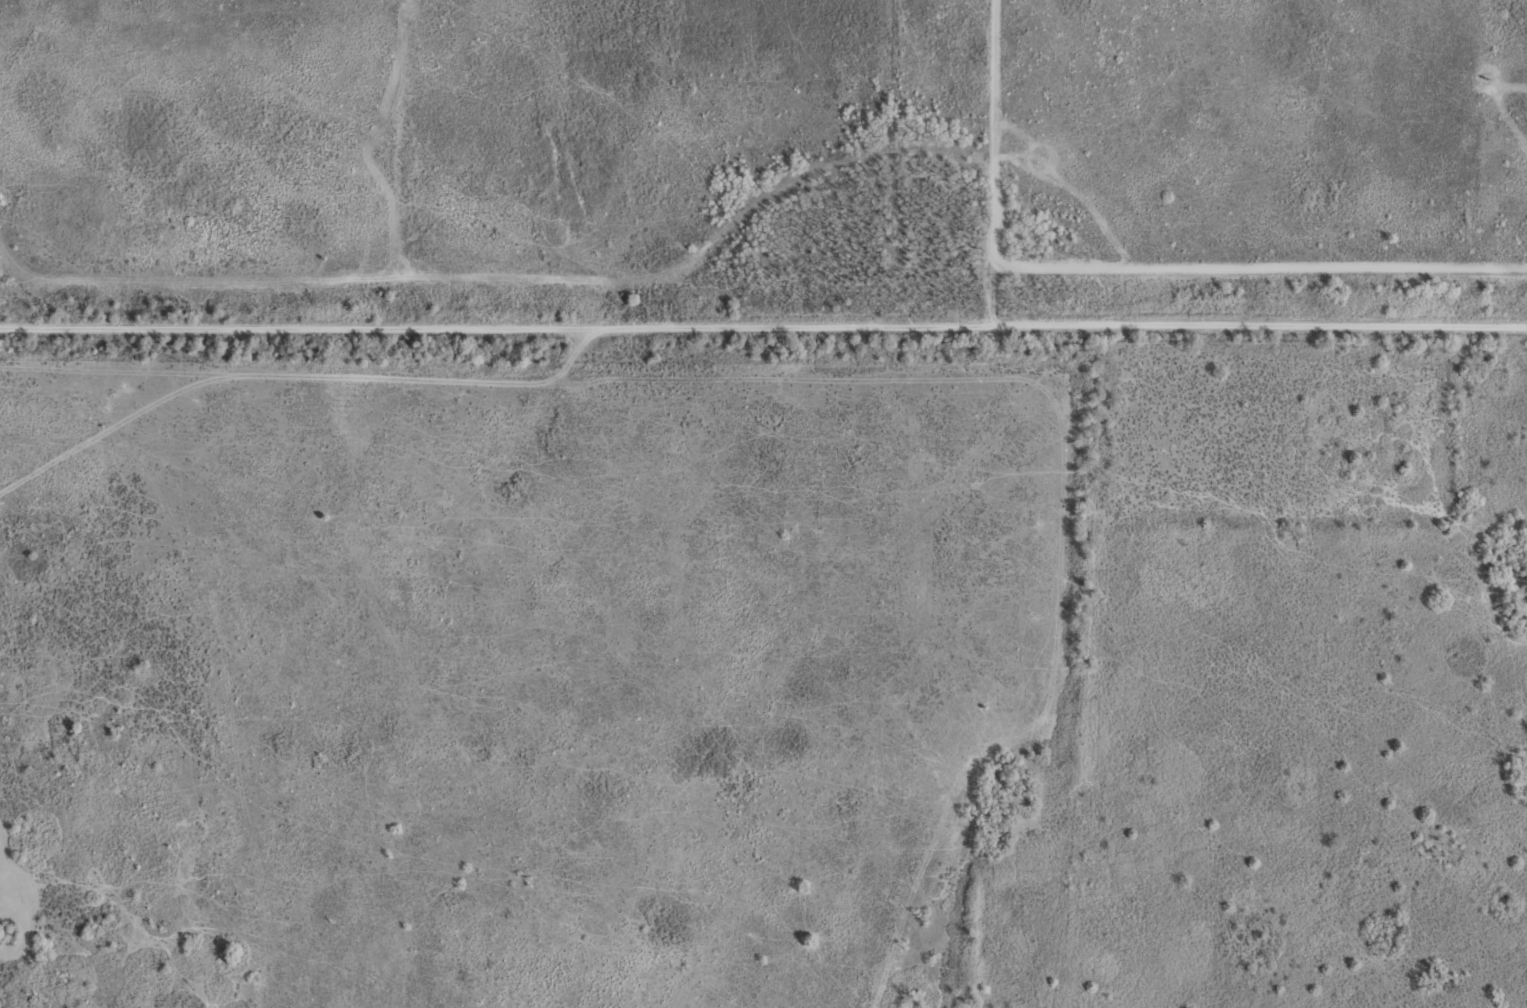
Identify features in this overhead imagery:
road: (763, 328)
crop: (773, 859)

